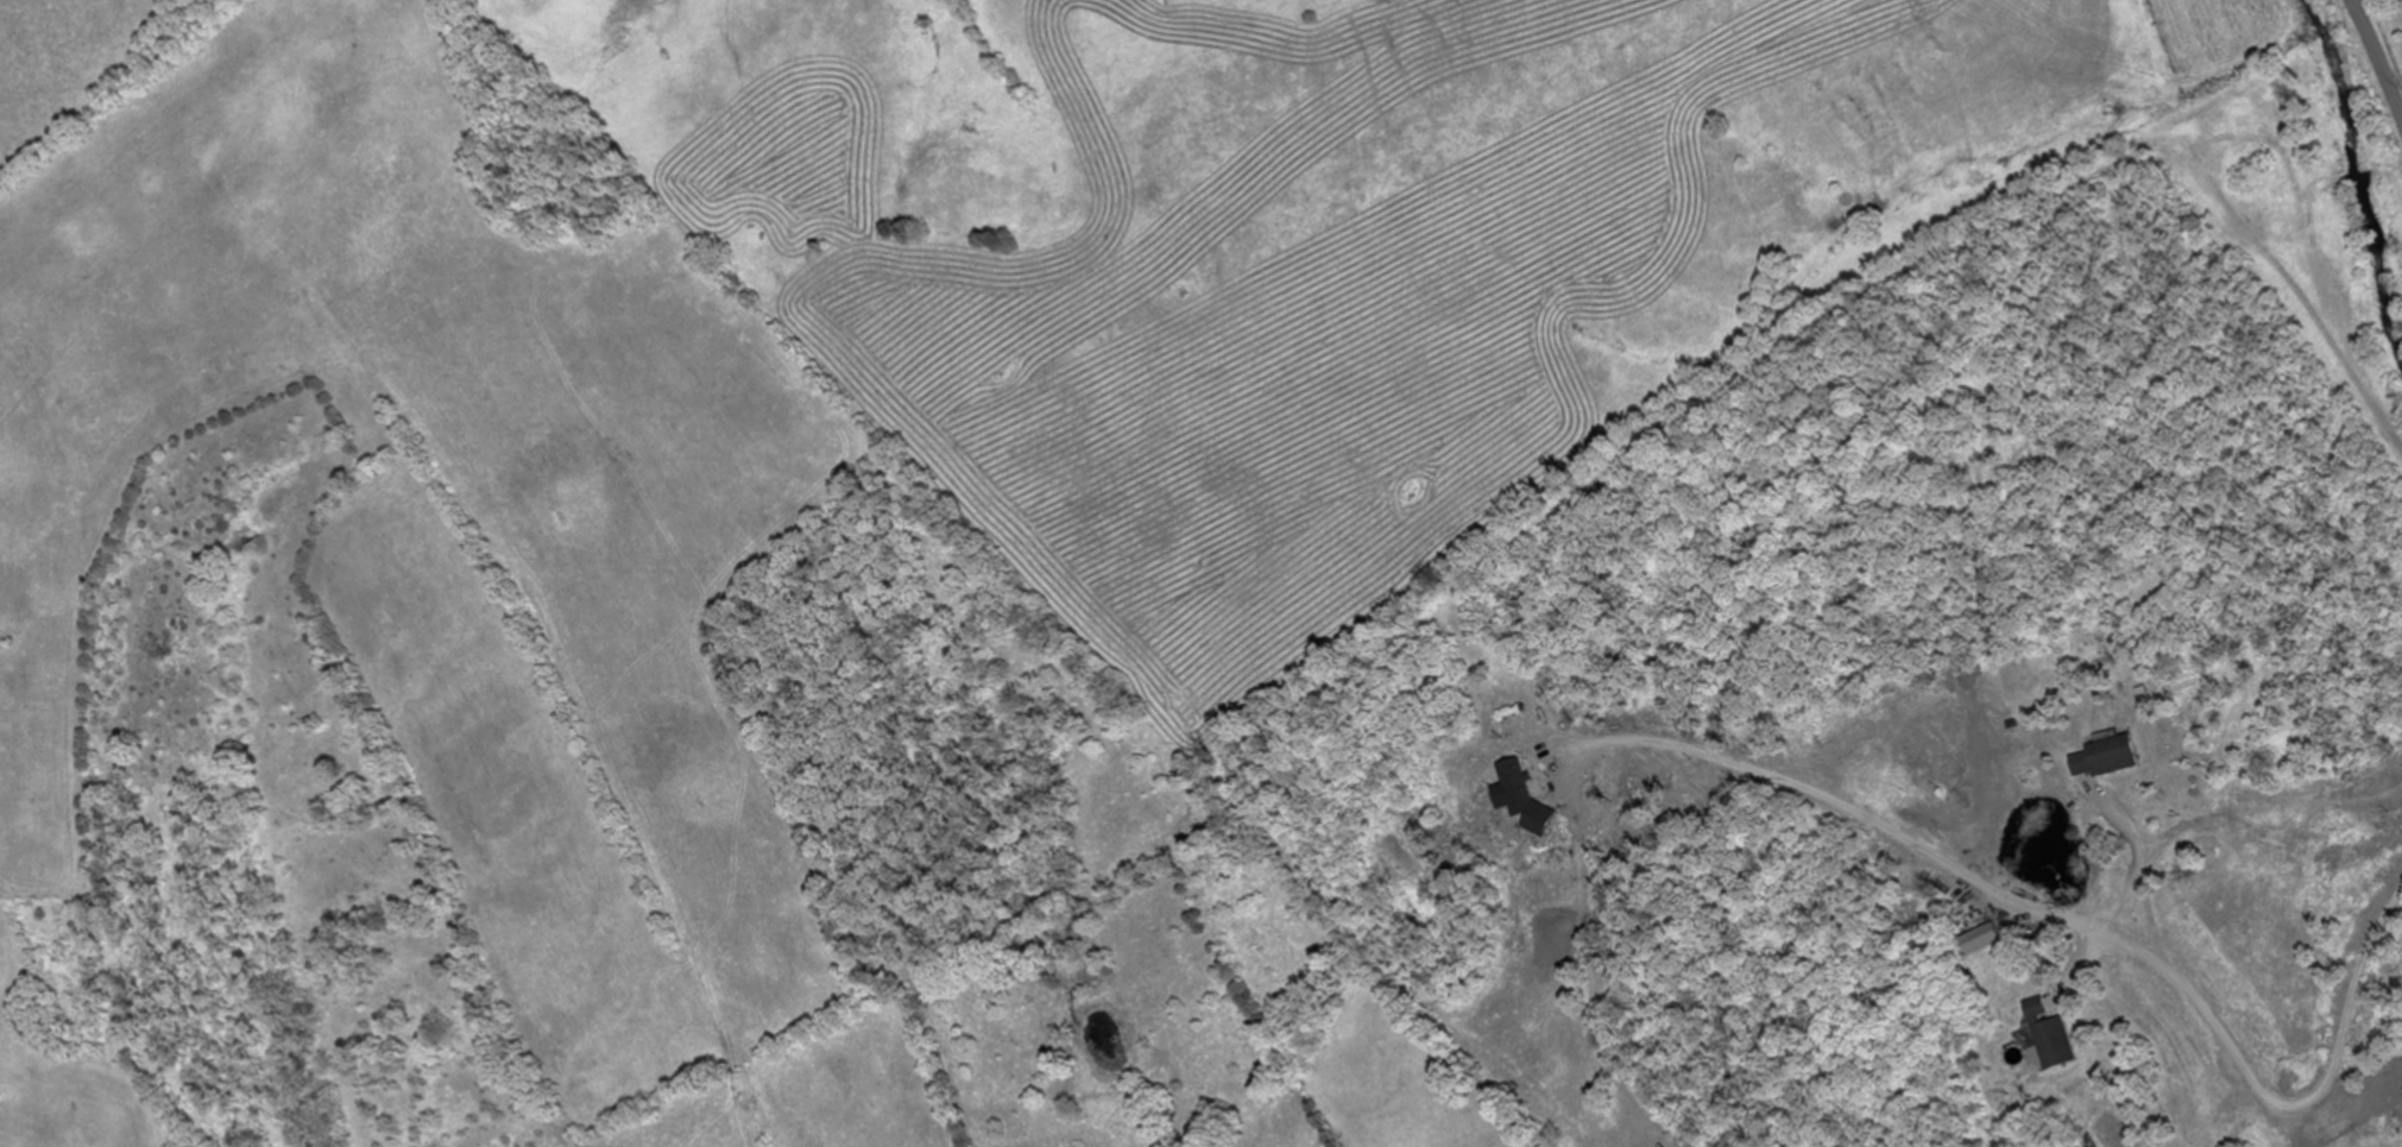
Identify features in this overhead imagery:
road: (2377, 57)
road: (2398, 96)
building: (2105, 757)
building: (1979, 937)
building: (2050, 1035)

